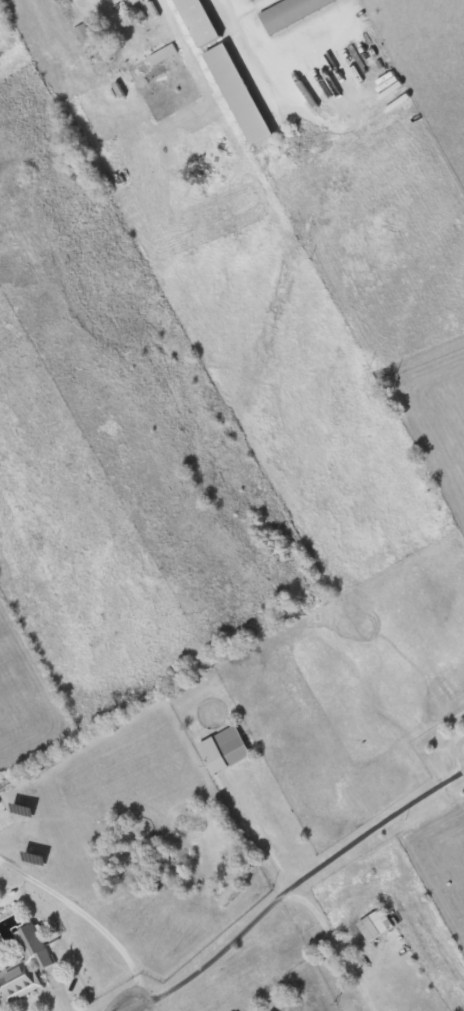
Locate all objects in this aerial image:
building: (252, 0)
building: (292, 12)
building: (196, 23)
building: (3, 30)
building: (83, 35)
building: (240, 96)
building: (226, 749)
road: (372, 830)
road: (263, 836)
building: (377, 926)
road: (335, 945)
road: (214, 958)
building: (26, 966)
road: (129, 1008)

